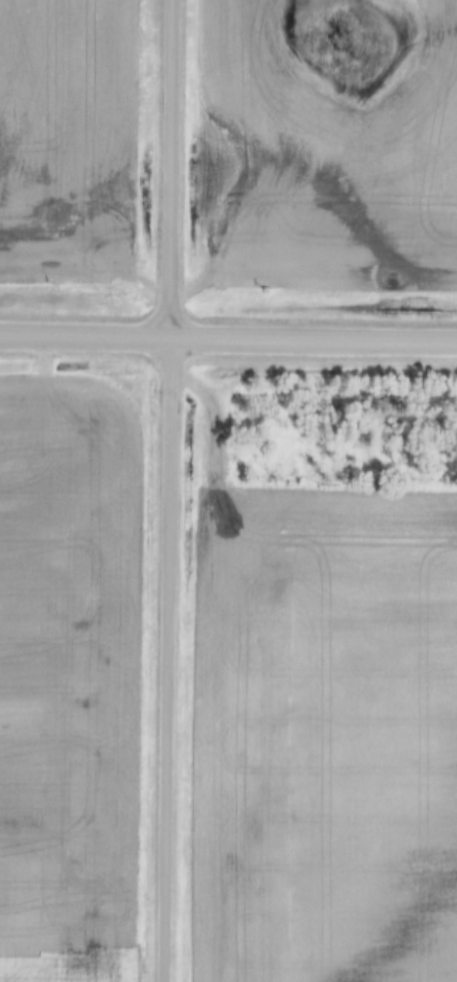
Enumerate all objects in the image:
road: (228, 339)
road: (166, 490)

